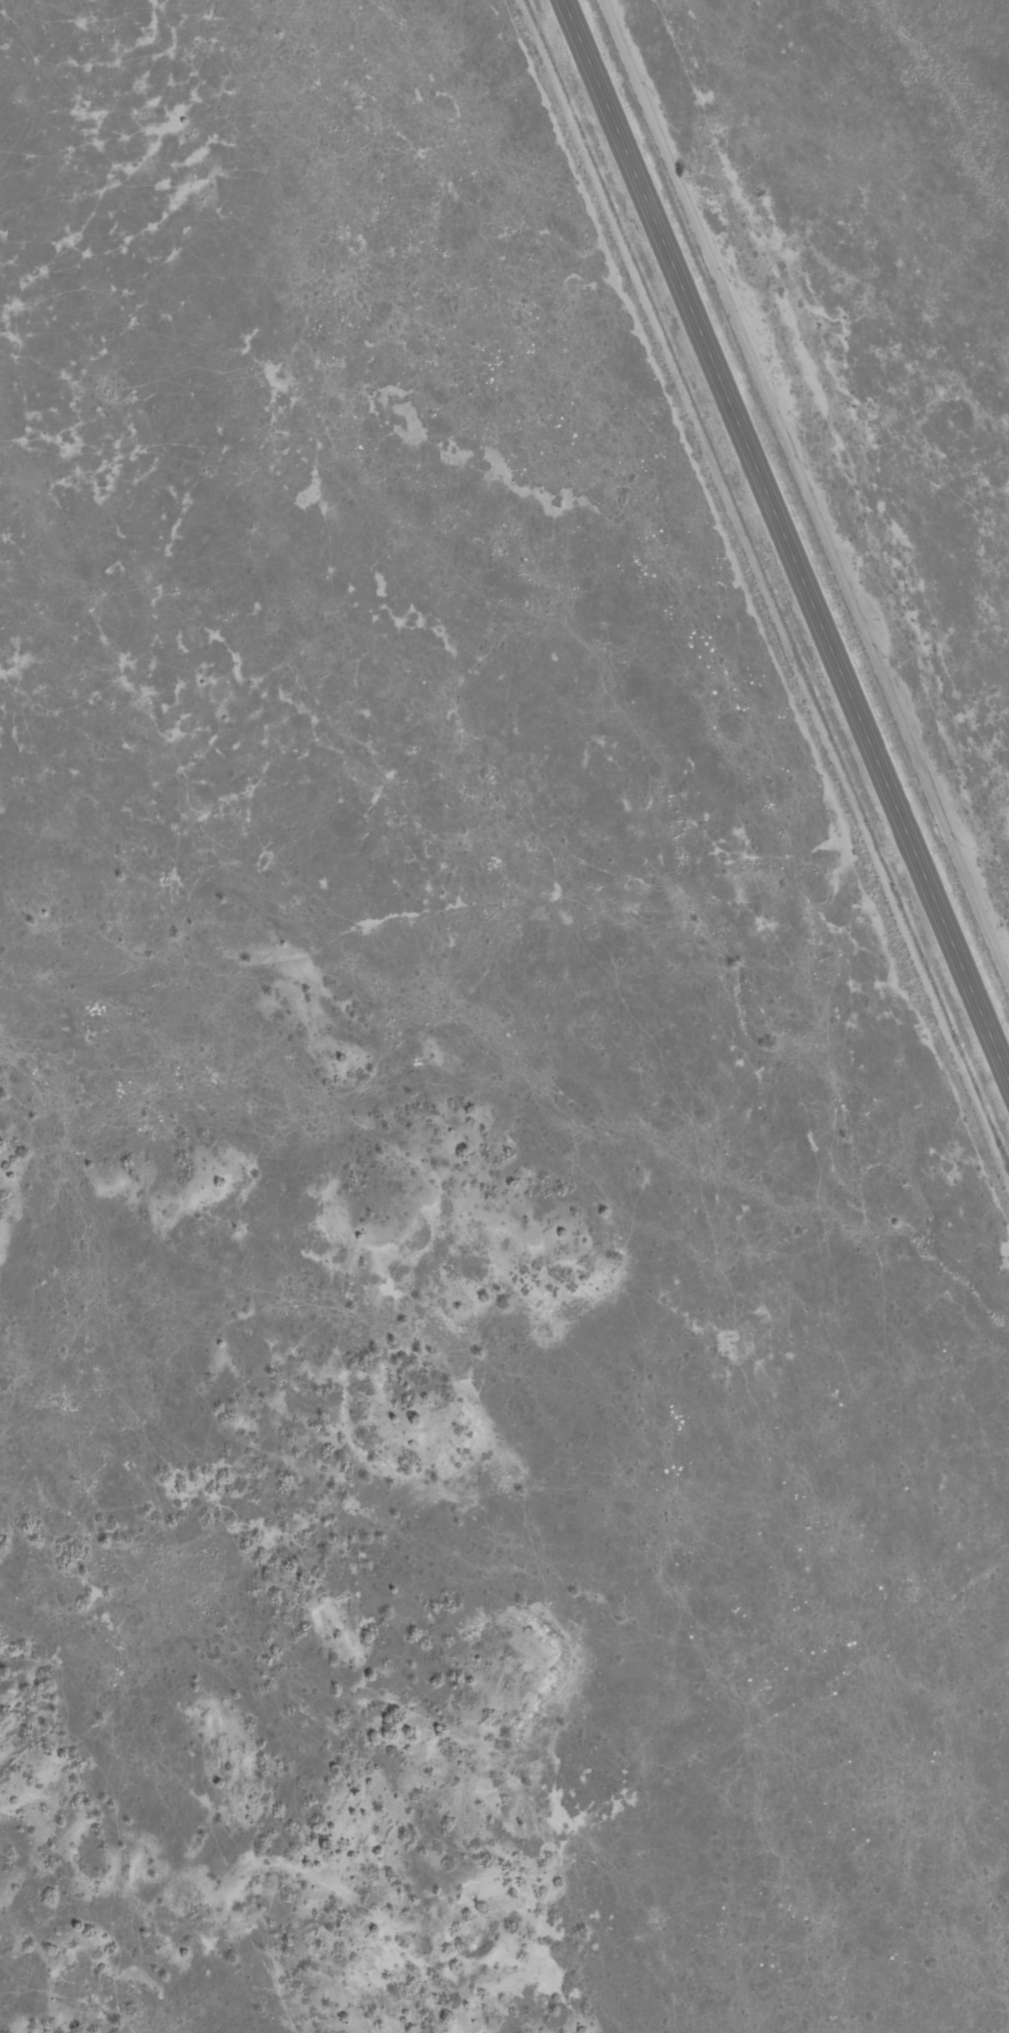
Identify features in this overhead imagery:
road: (806, 490)
road: (786, 540)
road: (758, 603)

